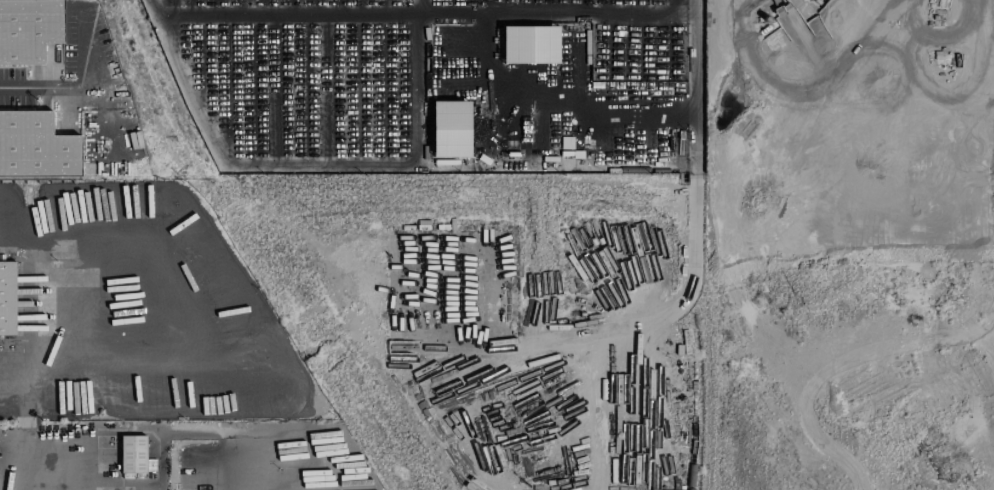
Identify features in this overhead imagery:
road: (290, 14)
building: (28, 30)
building: (530, 45)
road: (85, 87)
road: (104, 120)
building: (450, 129)
building: (35, 147)
road: (315, 164)
road: (146, 241)
road: (11, 246)
building: (7, 291)
road: (105, 331)
road: (39, 386)
road: (107, 433)
road: (229, 433)
building: (132, 454)

